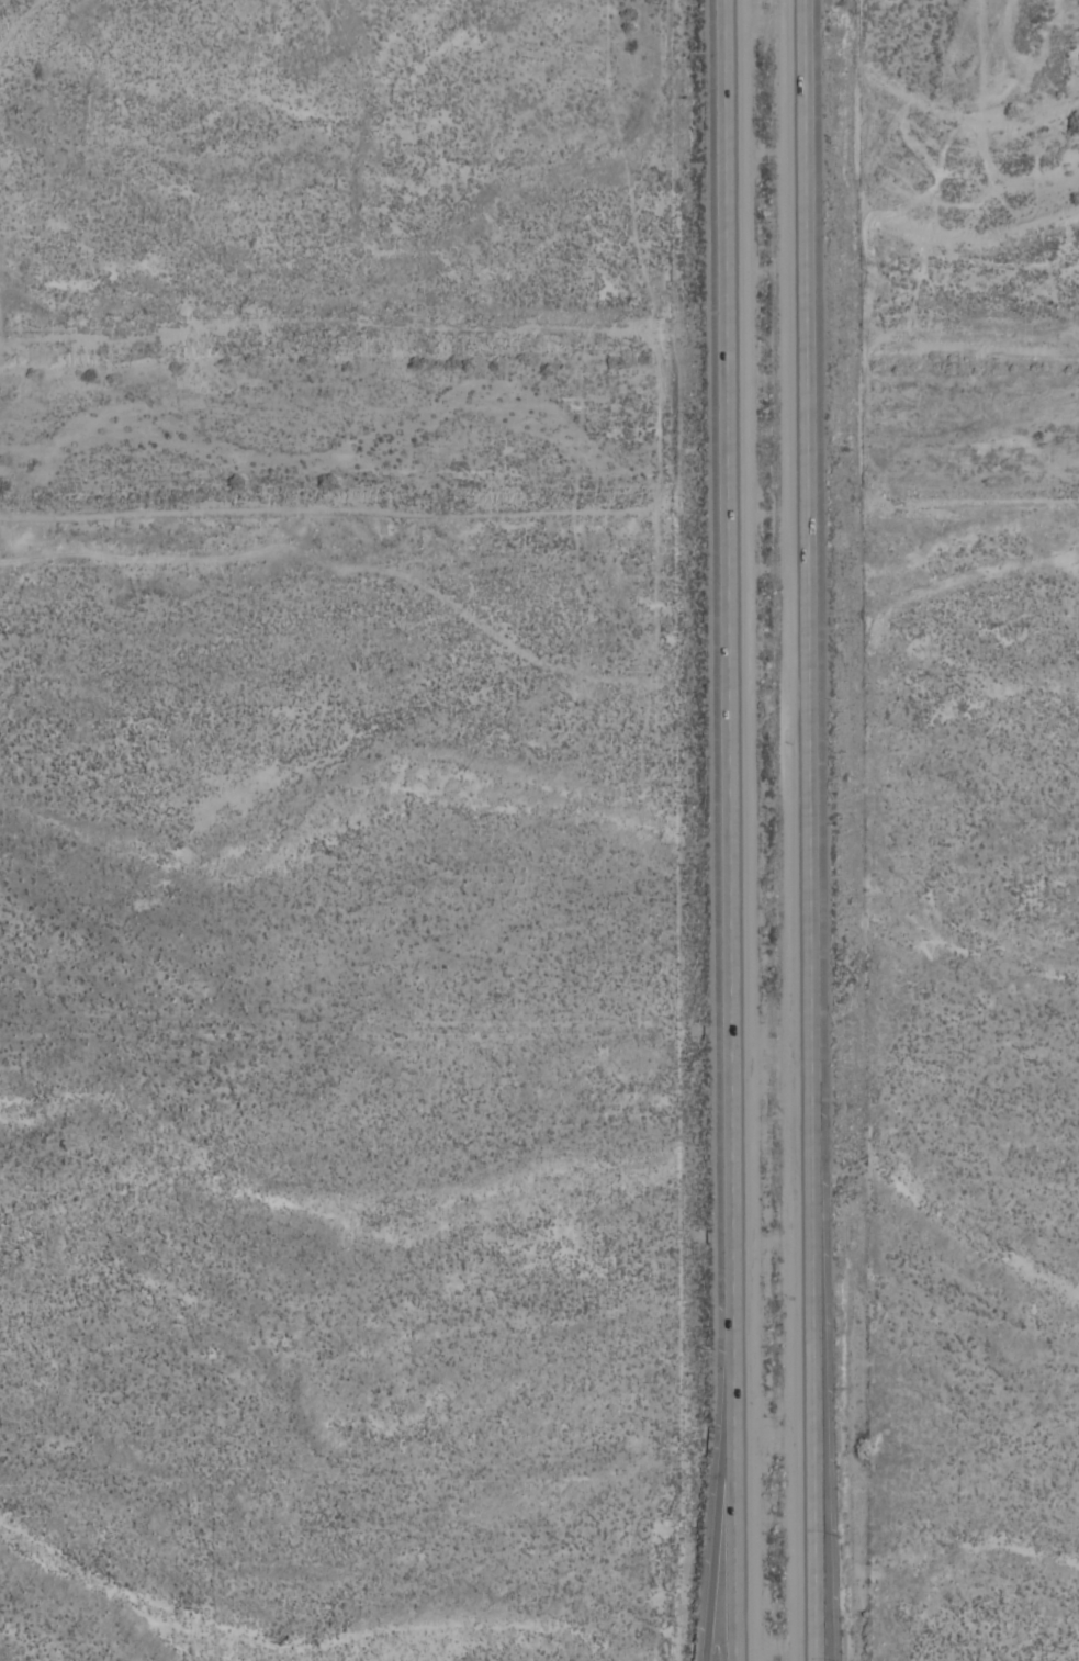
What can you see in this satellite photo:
road: (814, 787)
road: (728, 830)
road: (718, 1473)
road: (821, 1617)
road: (823, 1617)

